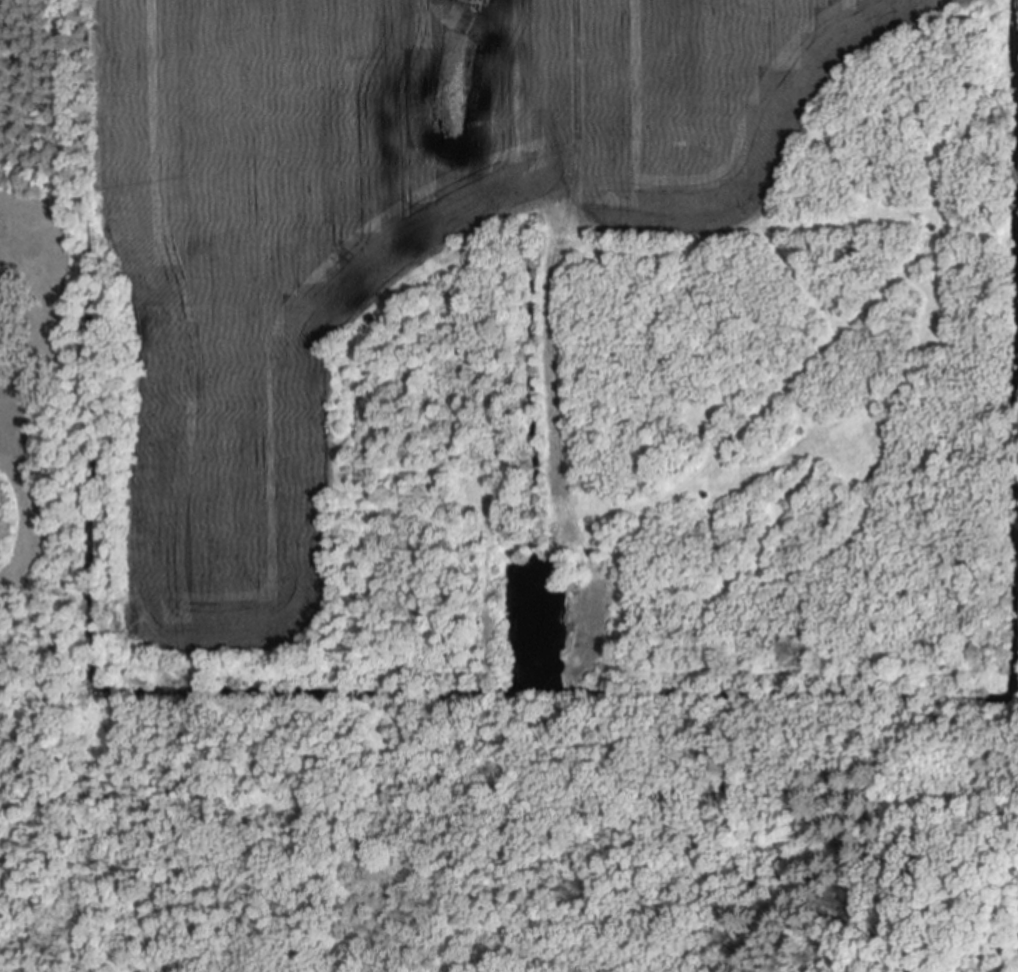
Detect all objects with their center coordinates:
building: (353, 507)

